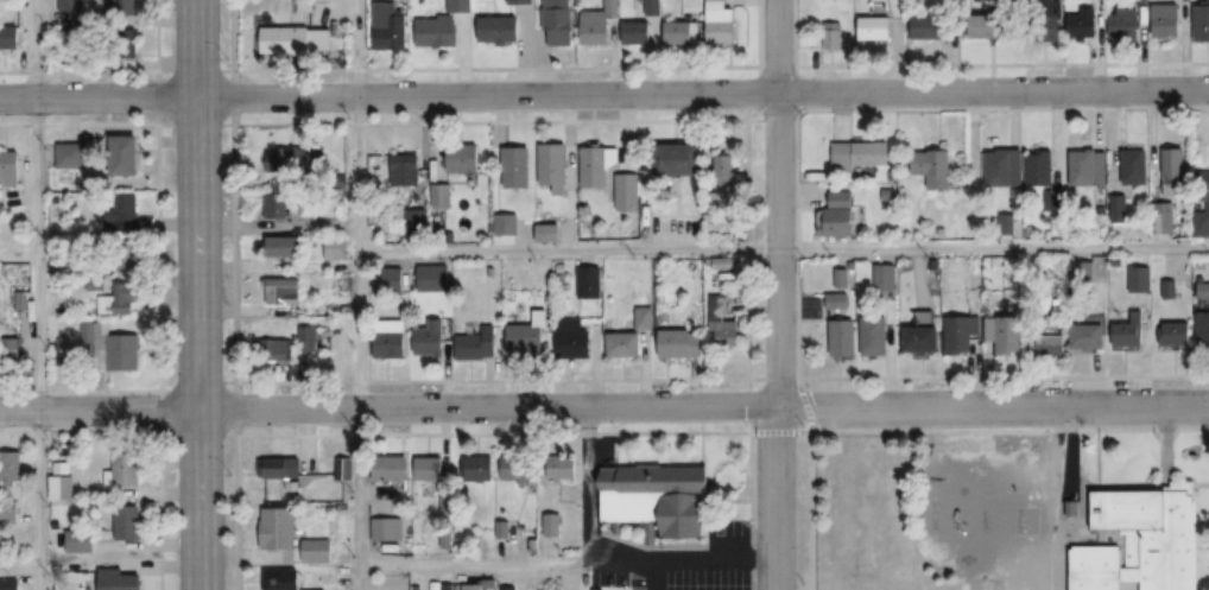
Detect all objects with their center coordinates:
building: (458, 6)
building: (120, 7)
building: (1165, 20)
building: (557, 23)
building: (720, 23)
building: (1202, 23)
building: (507, 24)
building: (597, 24)
building: (1082, 24)
building: (1123, 24)
building: (387, 25)
building: (7, 26)
building: (926, 26)
building: (992, 26)
building: (873, 27)
building: (436, 32)
building: (635, 32)
building: (682, 32)
building: (830, 36)
building: (296, 40)
road: (603, 93)
road: (355, 126)
road: (33, 128)
building: (861, 154)
building: (69, 156)
building: (124, 156)
building: (464, 158)
building: (678, 159)
building: (296, 160)
building: (553, 164)
building: (596, 165)
building: (724, 166)
building: (1004, 166)
building: (10, 167)
building: (517, 167)
building: (932, 167)
building: (1088, 167)
building: (1133, 167)
building: (400, 169)
building: (1042, 170)
building: (1172, 172)
building: (627, 192)
building: (439, 195)
building: (277, 205)
building: (1116, 209)
building: (120, 211)
building: (838, 212)
building: (1202, 217)
building: (1161, 218)
building: (506, 224)
building: (546, 233)
building: (284, 246)
building: (337, 247)
road: (783, 249)
road: (18, 258)
building: (728, 261)
building: (663, 262)
building: (1089, 264)
building: (1084, 271)
building: (436, 275)
building: (844, 275)
building: (887, 275)
building: (394, 277)
building: (1140, 278)
building: (593, 280)
building: (1204, 284)
building: (1169, 286)
building: (284, 290)
road: (195, 294)
road: (234, 294)
road: (777, 294)
building: (116, 298)
building: (840, 298)
building: (723, 306)
building: (648, 316)
building: (928, 317)
building: (1205, 326)
building: (728, 330)
building: (962, 330)
building: (1131, 330)
building: (1177, 331)
building: (876, 332)
building: (1012, 332)
building: (531, 334)
building: (1090, 334)
building: (847, 335)
building: (310, 336)
building: (432, 336)
building: (925, 336)
building: (576, 337)
building: (391, 342)
building: (627, 342)
building: (682, 342)
building: (477, 343)
building: (1055, 343)
building: (108, 347)
building: (278, 348)
building: (21, 355)
road: (806, 402)
road: (702, 406)
parking lot: (1043, 408)
road: (99, 411)
road: (37, 412)
road: (357, 421)
road: (1008, 430)
road: (698, 432)
building: (476, 464)
building: (518, 464)
building: (284, 465)
building: (565, 465)
building: (344, 467)
building: (430, 467)
building: (395, 468)
building: (10, 469)
building: (122, 469)
building: (61, 488)
building: (659, 496)
building: (449, 500)
building: (1069, 507)
road: (809, 510)
building: (7, 514)
building: (553, 522)
building: (127, 524)
building: (281, 526)
building: (505, 527)
building: (388, 528)
building: (448, 537)
building: (78, 540)
building: (1142, 540)
building: (321, 548)
road: (243, 553)
road: (552, 562)
road: (19, 569)
building: (284, 578)
road: (39, 579)
building: (118, 579)
building: (8, 585)
building: (437, 585)
park: (985, 585)
building: (475, 586)
building: (509, 588)
building: (315, 589)
building: (599, 589)

